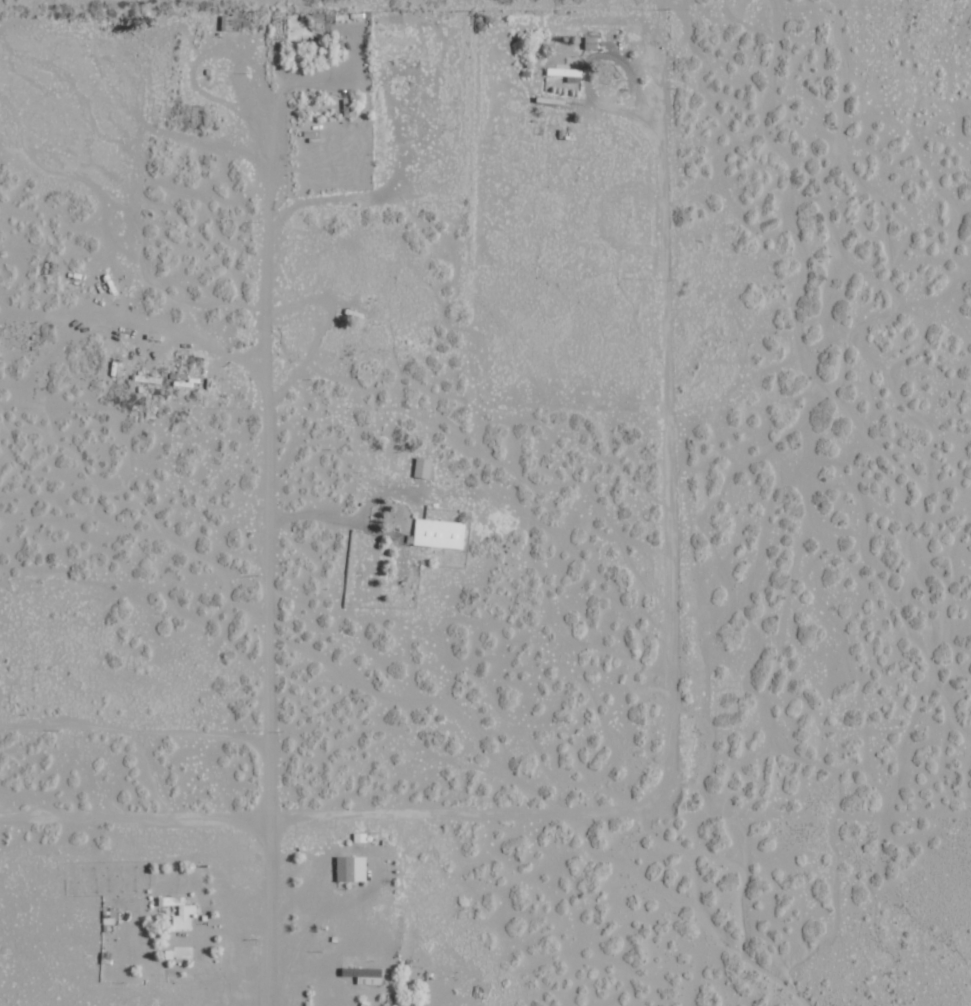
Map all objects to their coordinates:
building: (232, 21)
road: (349, 421)
building: (423, 467)
building: (439, 533)
building: (350, 869)

